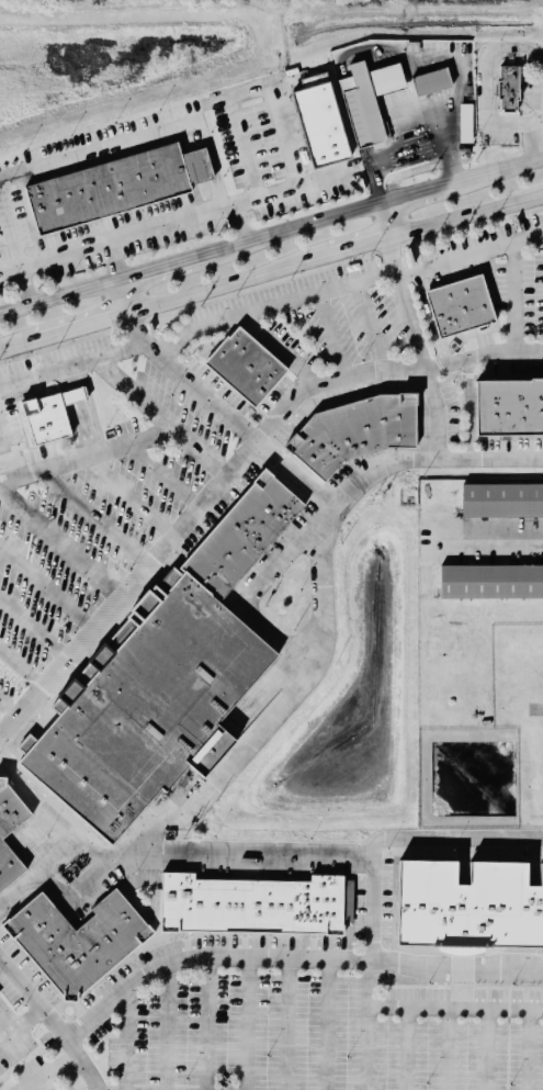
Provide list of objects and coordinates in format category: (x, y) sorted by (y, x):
road: (487, 70)
building: (430, 85)
road: (248, 90)
building: (507, 92)
building: (367, 102)
road: (536, 122)
building: (319, 124)
building: (466, 125)
road: (535, 142)
road: (100, 148)
road: (214, 162)
road: (498, 171)
building: (106, 192)
road: (283, 192)
road: (418, 194)
road: (465, 216)
road: (385, 222)
road: (239, 225)
road: (298, 229)
road: (125, 237)
road: (11, 240)
road: (359, 247)
road: (472, 257)
road: (117, 261)
road: (169, 269)
road: (234, 284)
road: (26, 288)
road: (131, 297)
road: (61, 300)
road: (273, 302)
building: (459, 307)
road: (364, 324)
road: (87, 327)
road: (423, 346)
road: (19, 347)
road: (72, 367)
building: (244, 369)
building: (68, 392)
building: (509, 407)
road: (228, 413)
building: (41, 414)
building: (354, 430)
road: (109, 451)
road: (199, 452)
road: (431, 458)
road: (236, 470)
road: (166, 477)
road: (133, 498)
building: (502, 498)
road: (97, 520)
building: (241, 536)
road: (508, 540)
road: (63, 546)
building: (491, 581)
road: (47, 588)
road: (34, 628)
road: (20, 671)
building: (151, 709)
road: (536, 709)
road: (5, 712)
road: (66, 817)
building: (9, 832)
road: (144, 854)
road: (43, 868)
building: (251, 904)
building: (467, 906)
road: (372, 908)
building: (77, 941)
road: (241, 959)
road: (464, 990)
building: (0, 996)
road: (465, 1011)
road: (516, 1012)
road: (328, 1023)
road: (249, 1024)
road: (287, 1024)
road: (364, 1024)
road: (208, 1026)
road: (166, 1030)
road: (24, 1032)
road: (126, 1042)
road: (408, 1049)
road: (448, 1050)
road: (529, 1050)
road: (83, 1063)
road: (49, 1071)

